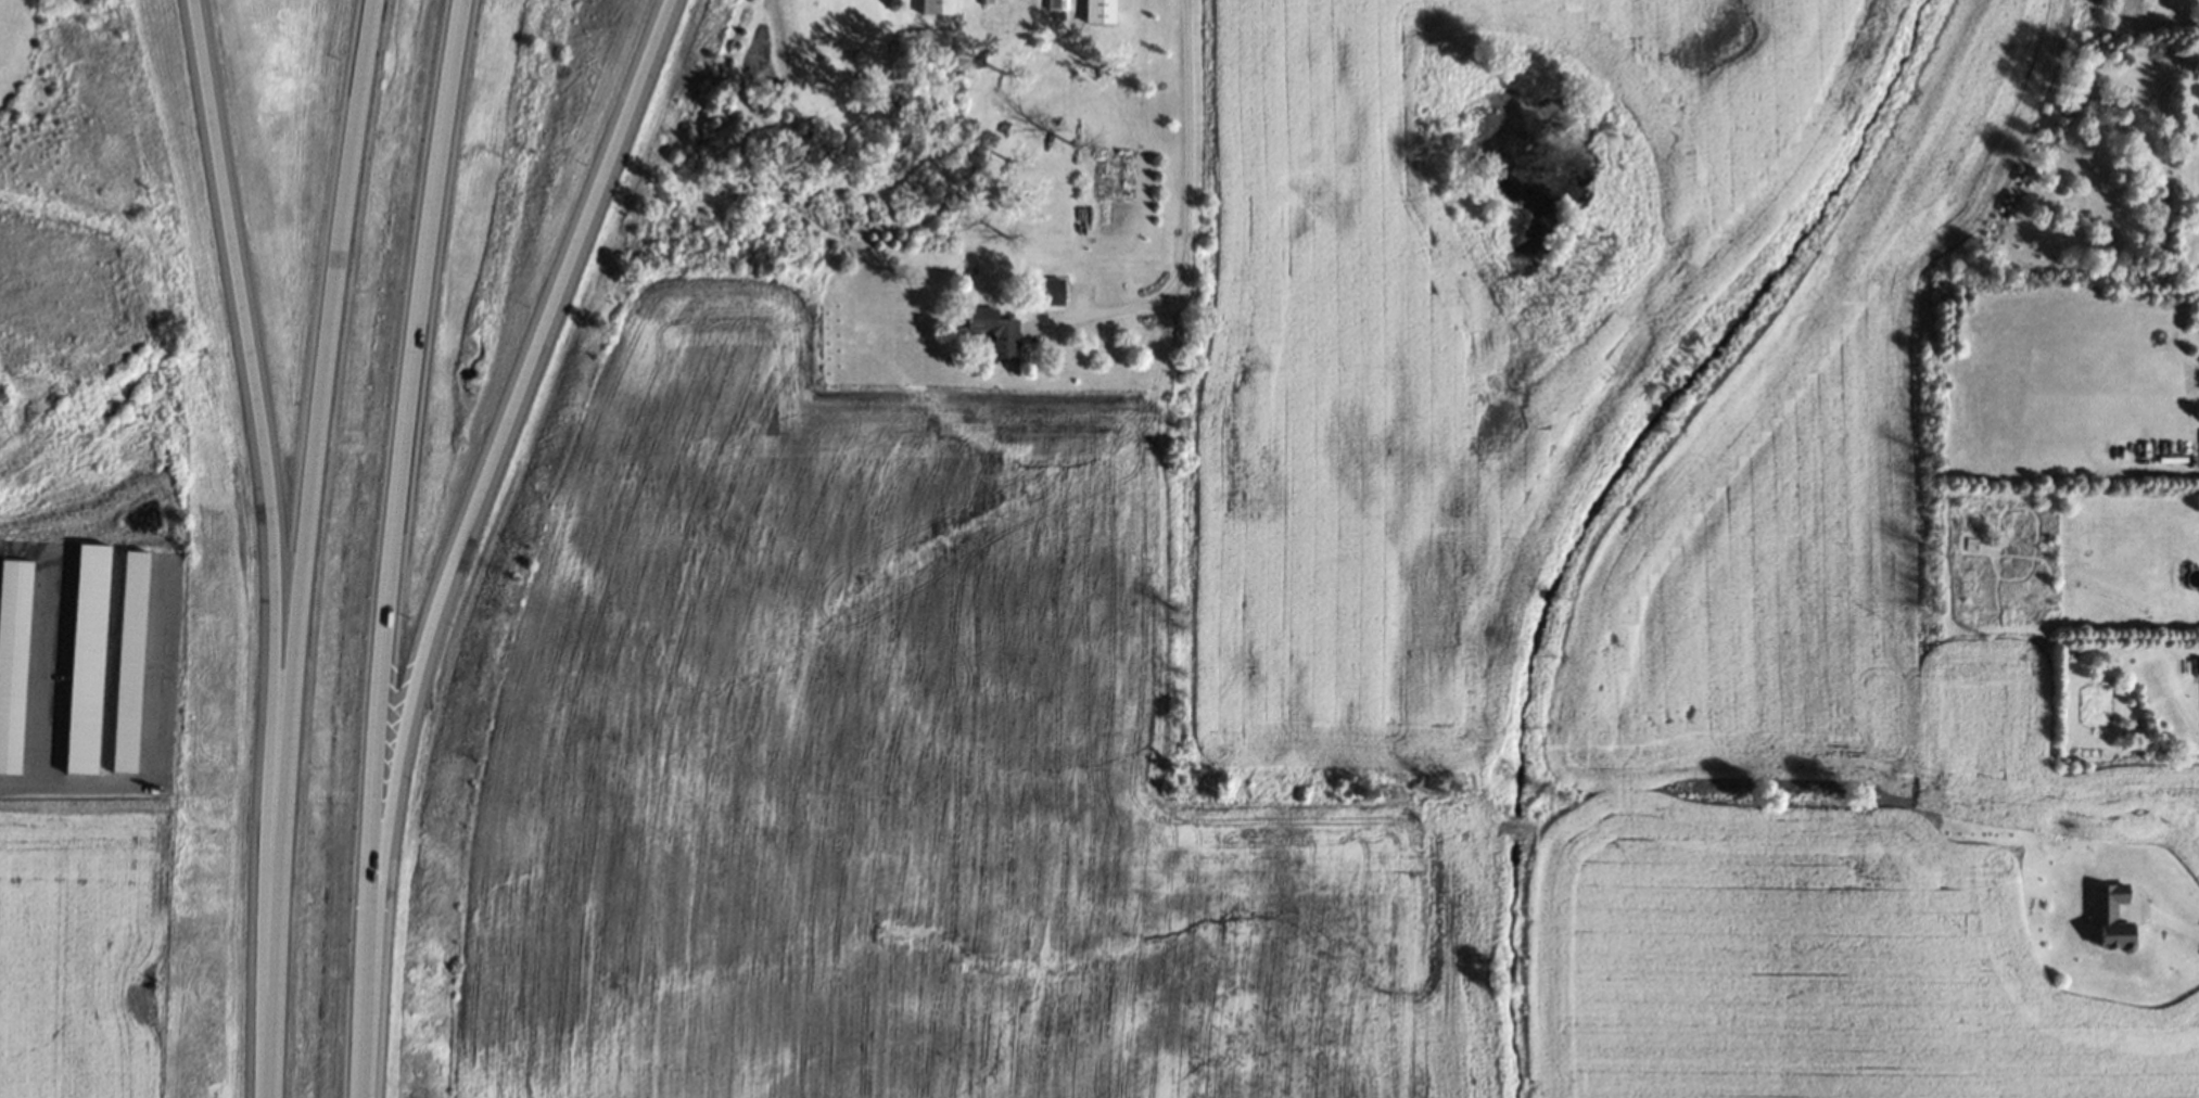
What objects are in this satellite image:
building: (1055, 4)
building: (935, 8)
building: (1098, 9)
road: (1190, 195)
building: (1045, 291)
building: (992, 331)
road: (241, 336)
road: (533, 358)
road: (310, 547)
road: (418, 549)
road: (40, 782)
building: (2106, 916)
road: (2172, 919)

